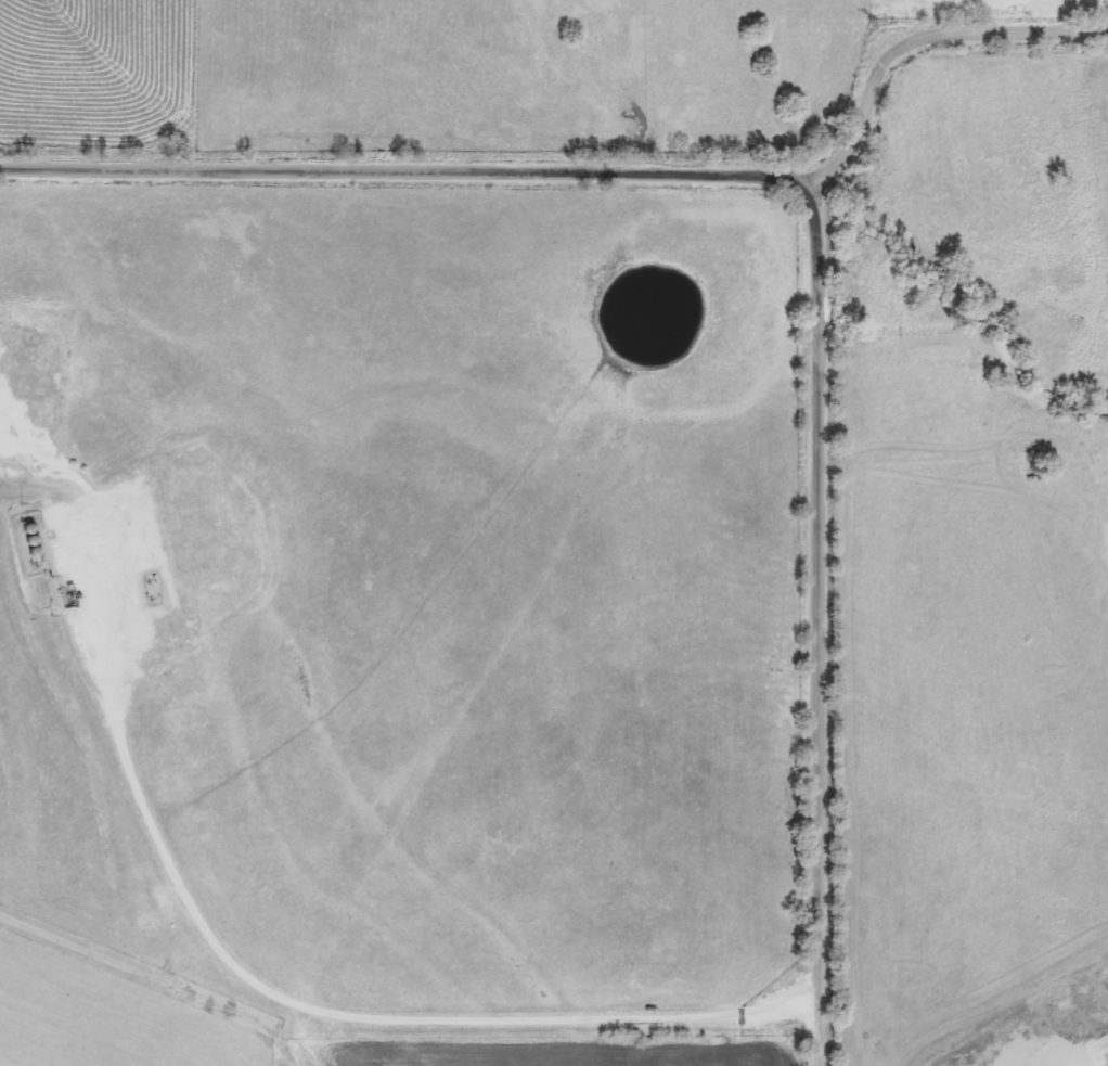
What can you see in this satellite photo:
road: (905, 56)
road: (821, 222)
road: (157, 973)
road: (335, 1016)

